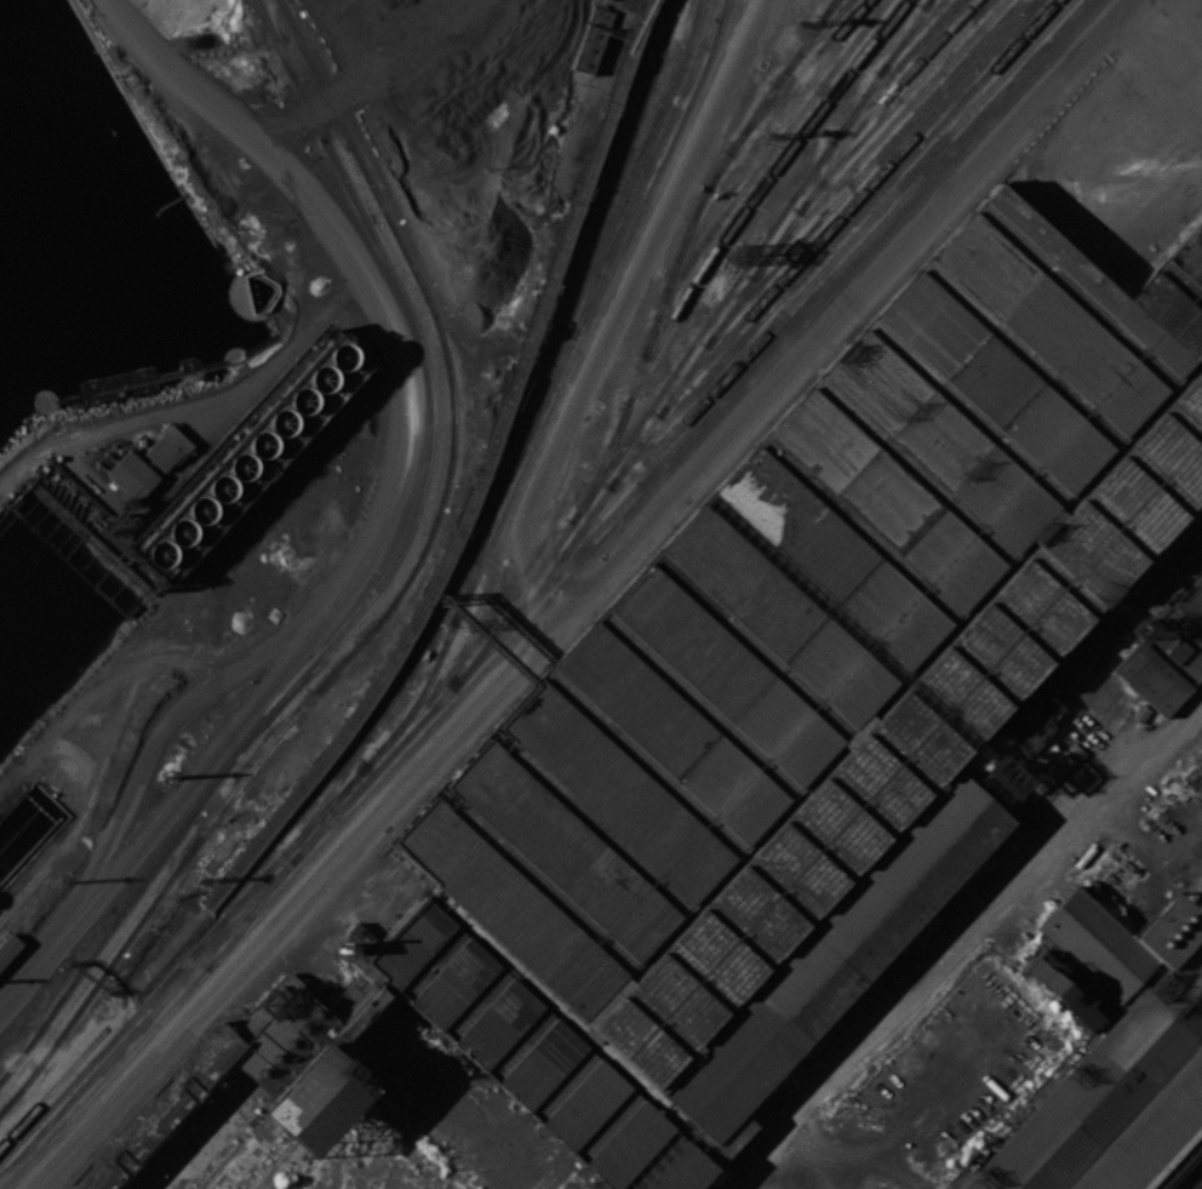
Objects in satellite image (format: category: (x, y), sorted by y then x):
railway: (927, 4)
railway: (829, 8)
road: (1183, 13)
railway: (909, 36)
building: (591, 40)
railway: (812, 41)
railway: (715, 44)
railway: (291, 70)
railway: (894, 70)
railway: (795, 75)
railway: (881, 101)
railway: (878, 138)
railway: (635, 166)
railway: (754, 170)
railway: (863, 171)
railway: (755, 194)
railway: (811, 196)
railway: (830, 241)
railway: (680, 248)
railway: (813, 278)
railway: (762, 299)
railway: (692, 343)
railway: (544, 422)
railway: (525, 440)
building: (167, 446)
building: (247, 456)
building: (131, 474)
railway: (479, 480)
railway: (474, 566)
railway: (543, 589)
railway: (555, 595)
railway: (395, 599)
road: (276, 640)
railway: (333, 641)
road: (300, 642)
road: (517, 654)
building: (772, 726)
railway: (332, 801)
road: (85, 813)
railway: (330, 813)
building: (11, 847)
road: (997, 915)
railway: (247, 919)
building: (7, 945)
road: (48, 950)
building: (1111, 1054)
railway: (53, 1086)

